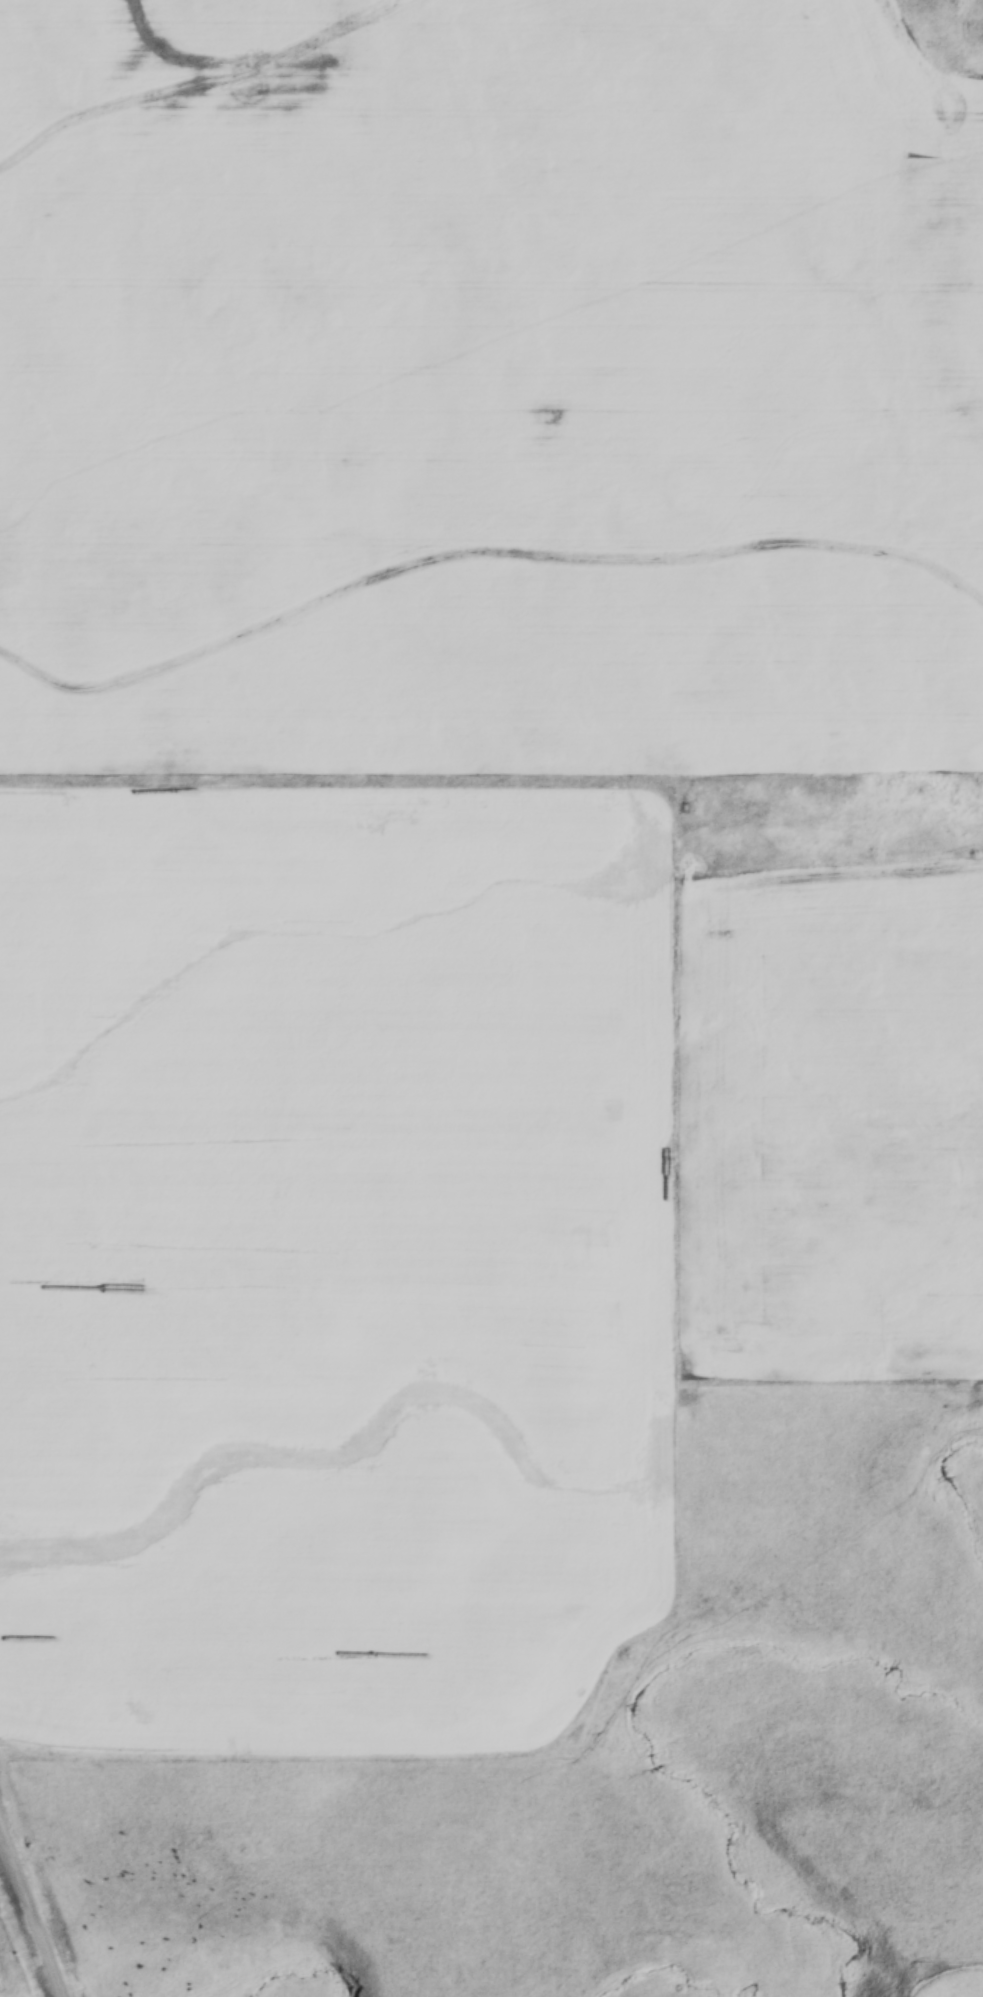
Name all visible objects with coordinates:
road: (29, 1913)

